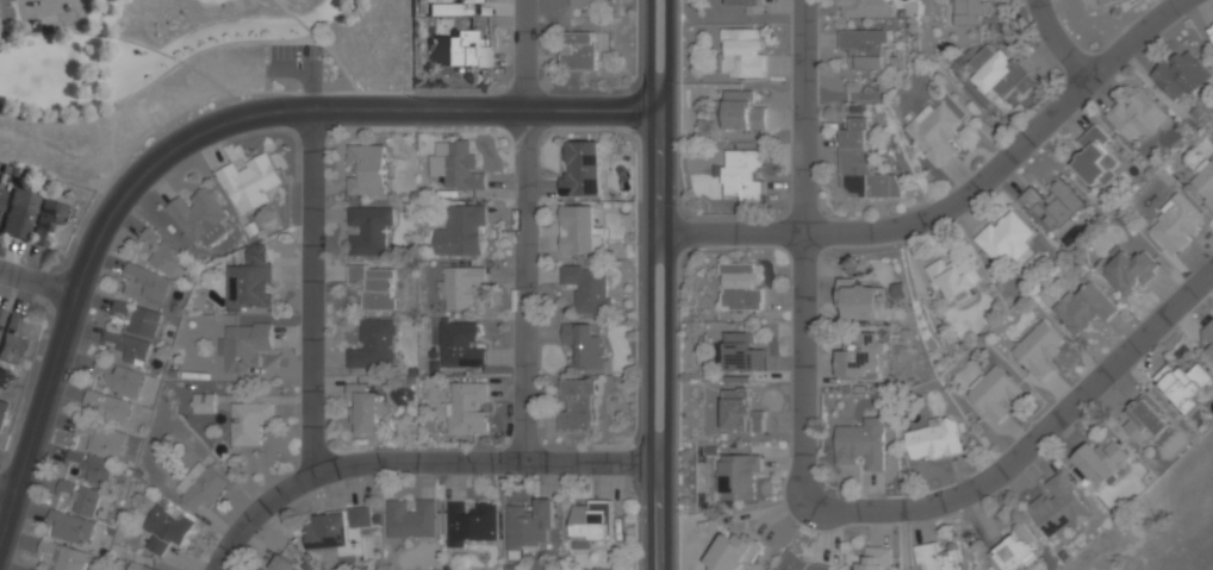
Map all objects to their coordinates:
building: (468, 1)
building: (1106, 2)
building: (586, 4)
building: (748, 5)
building: (864, 8)
building: (442, 10)
building: (969, 13)
road: (97, 17)
building: (1211, 32)
road: (2, 35)
road: (122, 39)
road: (321, 42)
road: (1057, 43)
building: (867, 49)
building: (465, 50)
parking lot: (294, 51)
building: (578, 51)
building: (741, 52)
road: (179, 63)
street lamp: (1127, 64)
park: (174, 69)
road: (311, 73)
building: (999, 73)
building: (1181, 76)
road: (237, 93)
building: (742, 112)
road: (596, 114)
building: (1137, 117)
building: (935, 130)
building: (1095, 158)
building: (863, 165)
building: (460, 168)
building: (366, 169)
building: (581, 169)
road: (142, 173)
building: (742, 175)
building: (1205, 181)
building: (249, 182)
building: (2, 196)
road: (960, 199)
building: (1053, 203)
building: (19, 214)
building: (198, 218)
building: (48, 219)
building: (1177, 224)
road: (520, 228)
building: (368, 230)
building: (579, 230)
building: (462, 231)
road: (659, 233)
building: (1006, 239)
building: (163, 253)
building: (1130, 274)
building: (956, 280)
building: (150, 281)
road: (36, 282)
building: (250, 282)
road: (649, 284)
road: (668, 284)
building: (375, 286)
building: (461, 286)
building: (740, 286)
building: (586, 288)
road: (309, 293)
building: (860, 302)
building: (1083, 311)
building: (1, 315)
building: (139, 317)
building: (1209, 336)
building: (13, 342)
building: (248, 345)
building: (374, 345)
building: (460, 345)
building: (584, 345)
building: (130, 346)
building: (1039, 350)
building: (742, 352)
building: (860, 358)
building: (120, 378)
building: (1184, 384)
building: (994, 392)
building: (204, 403)
building: (578, 403)
building: (111, 406)
building: (365, 407)
building: (467, 408)
building: (740, 411)
building: (4, 413)
building: (1147, 421)
building: (249, 422)
building: (104, 440)
building: (933, 440)
building: (863, 446)
road: (418, 457)
building: (1101, 461)
building: (93, 468)
building: (738, 476)
building: (203, 488)
road: (6, 493)
building: (81, 497)
road: (807, 497)
building: (1058, 506)
building: (412, 519)
building: (471, 522)
building: (589, 522)
building: (528, 525)
building: (71, 527)
building: (337, 527)
street lamp: (800, 527)
building: (167, 528)
road: (902, 539)
building: (1015, 550)
building: (732, 552)
building: (67, 556)
building: (939, 557)
building: (876, 558)
building: (797, 562)
building: (280, 563)
building: (142, 566)
building: (261, 569)

